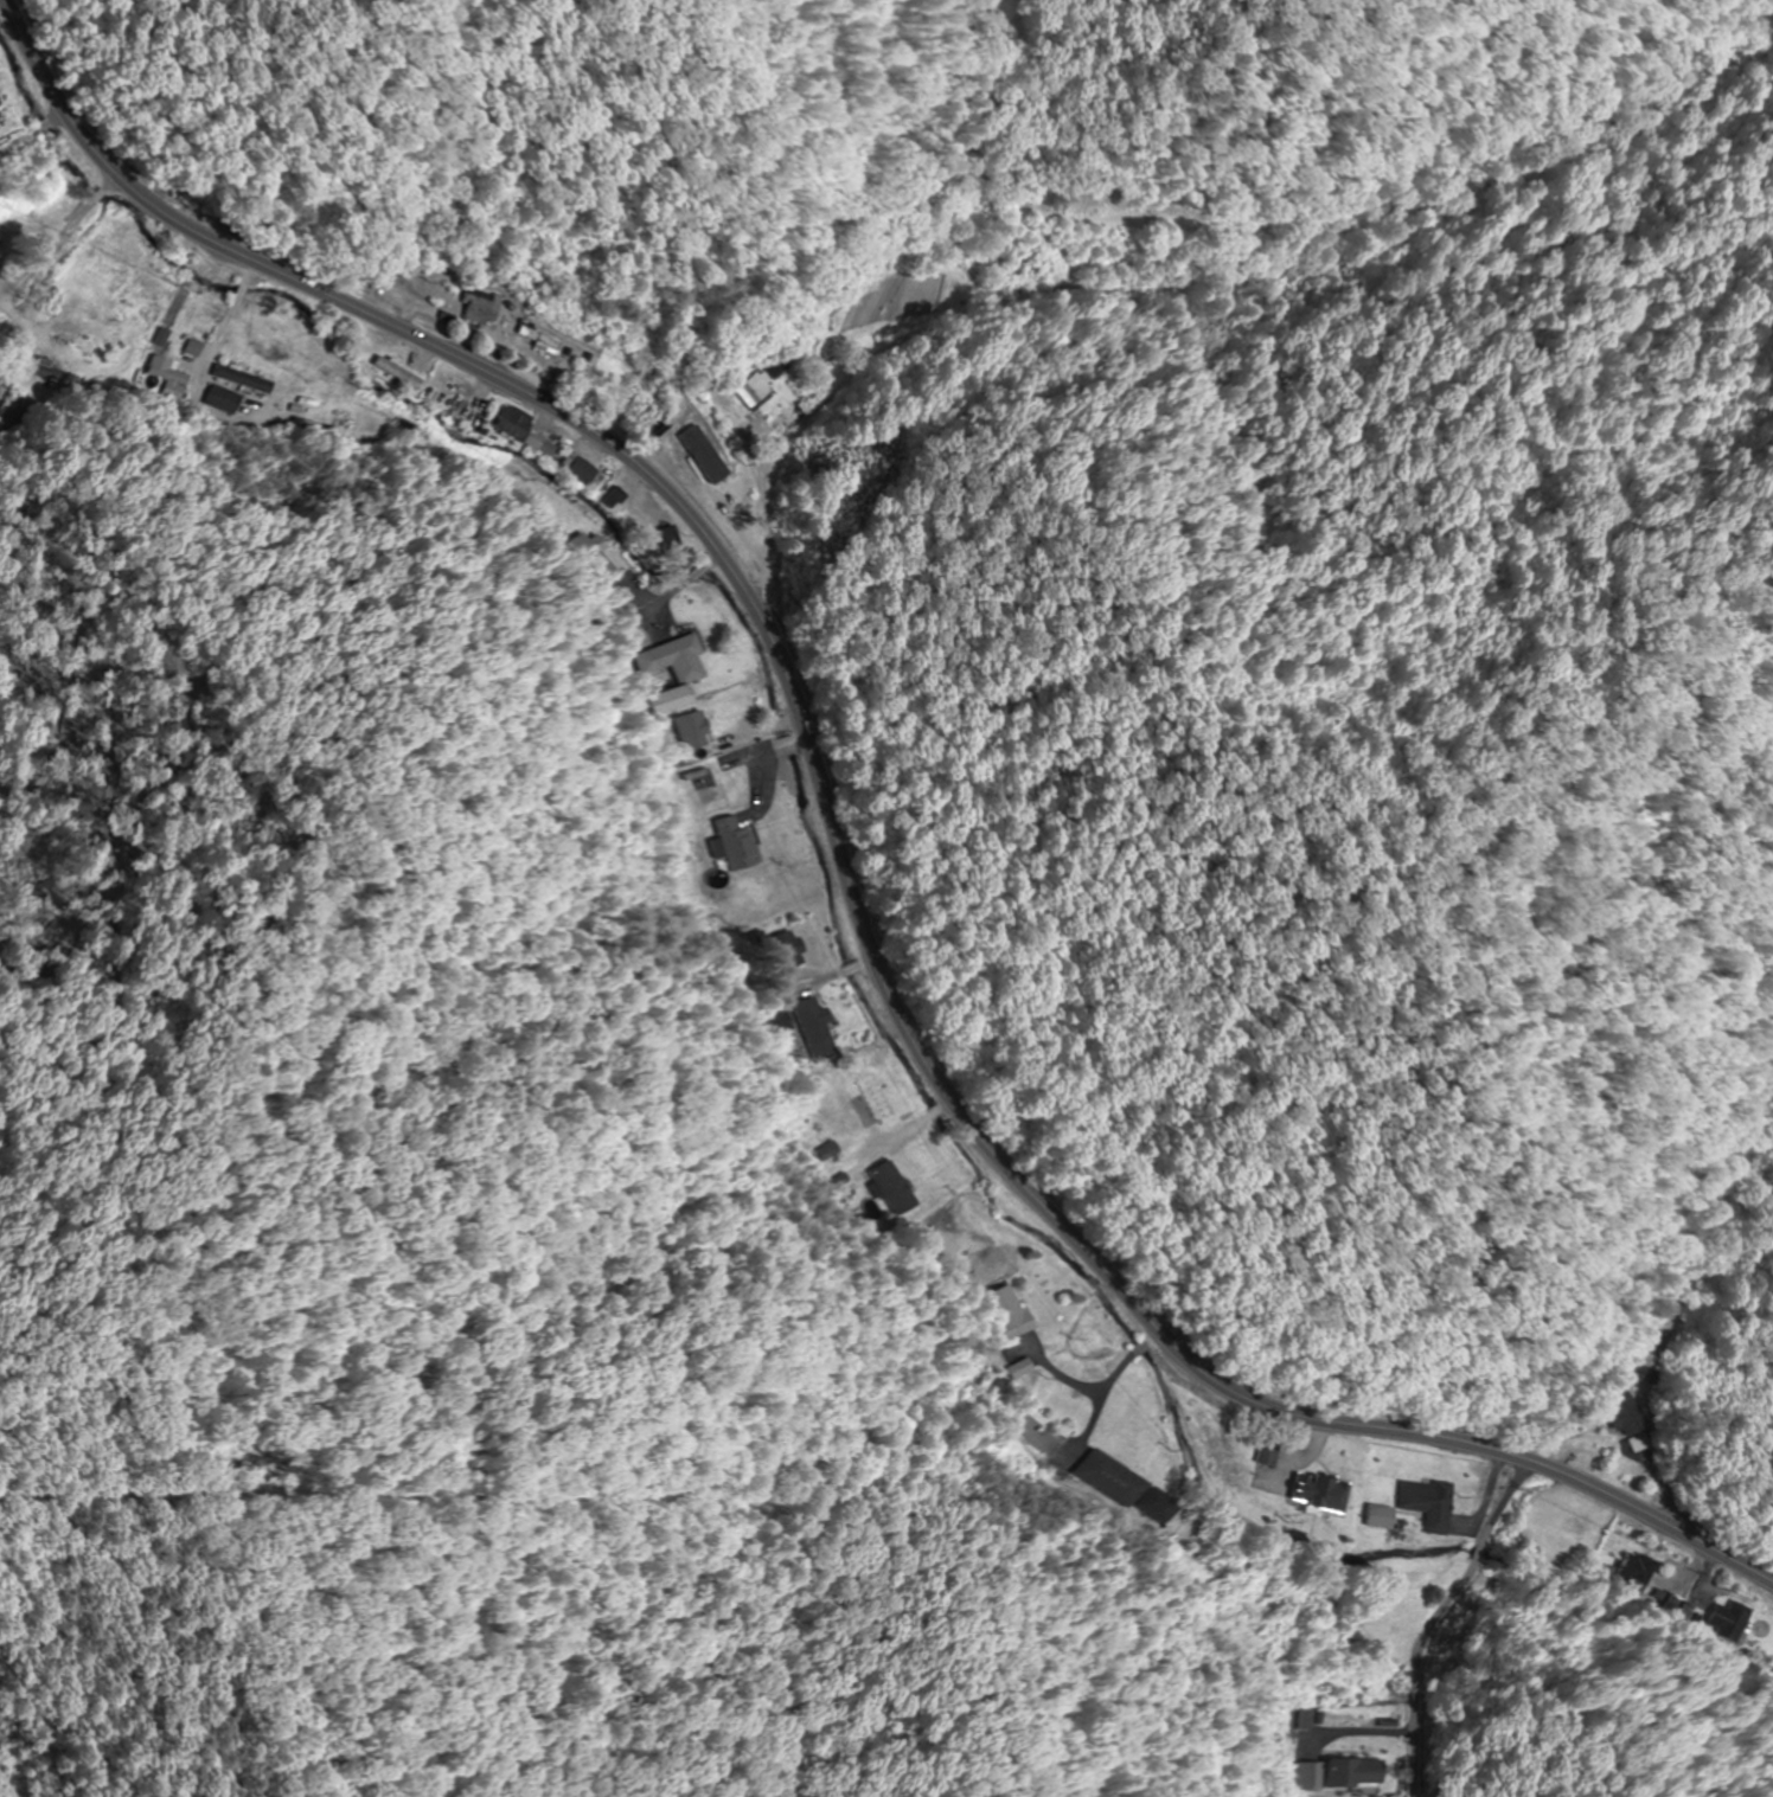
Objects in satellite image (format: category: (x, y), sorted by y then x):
road: (58, 235)
building: (479, 308)
building: (535, 338)
building: (98, 347)
building: (194, 348)
building: (166, 370)
building: (45, 373)
building: (244, 380)
building: (755, 383)
road: (210, 411)
building: (792, 418)
building: (511, 424)
building: (568, 467)
building: (614, 500)
road: (683, 586)
building: (678, 661)
building: (738, 843)
road: (840, 853)
building: (787, 952)
building: (818, 1029)
building: (897, 1189)
building: (1007, 1314)
building: (1641, 1374)
building: (1621, 1413)
building: (1269, 1455)
building: (1132, 1489)
building: (1319, 1495)
building: (1428, 1506)
building: (1378, 1519)
road: (1438, 1616)
building: (1728, 1623)
building: (1340, 1774)

